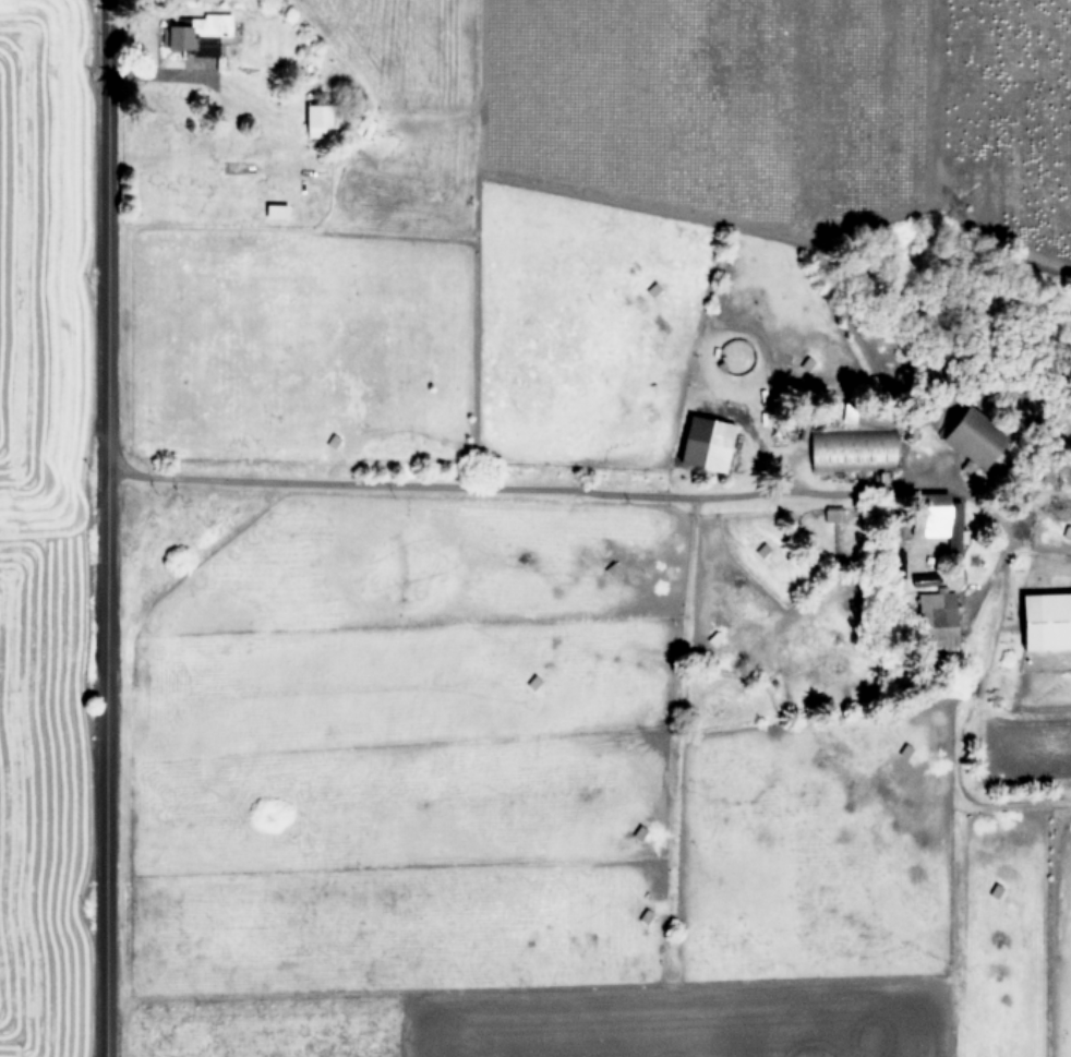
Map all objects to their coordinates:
building: (207, 29)
building: (172, 36)
building: (312, 119)
building: (966, 436)
building: (700, 443)
road: (641, 493)
building: (939, 520)
road: (104, 528)
crop: (535, 528)
building: (934, 612)
building: (1043, 621)

